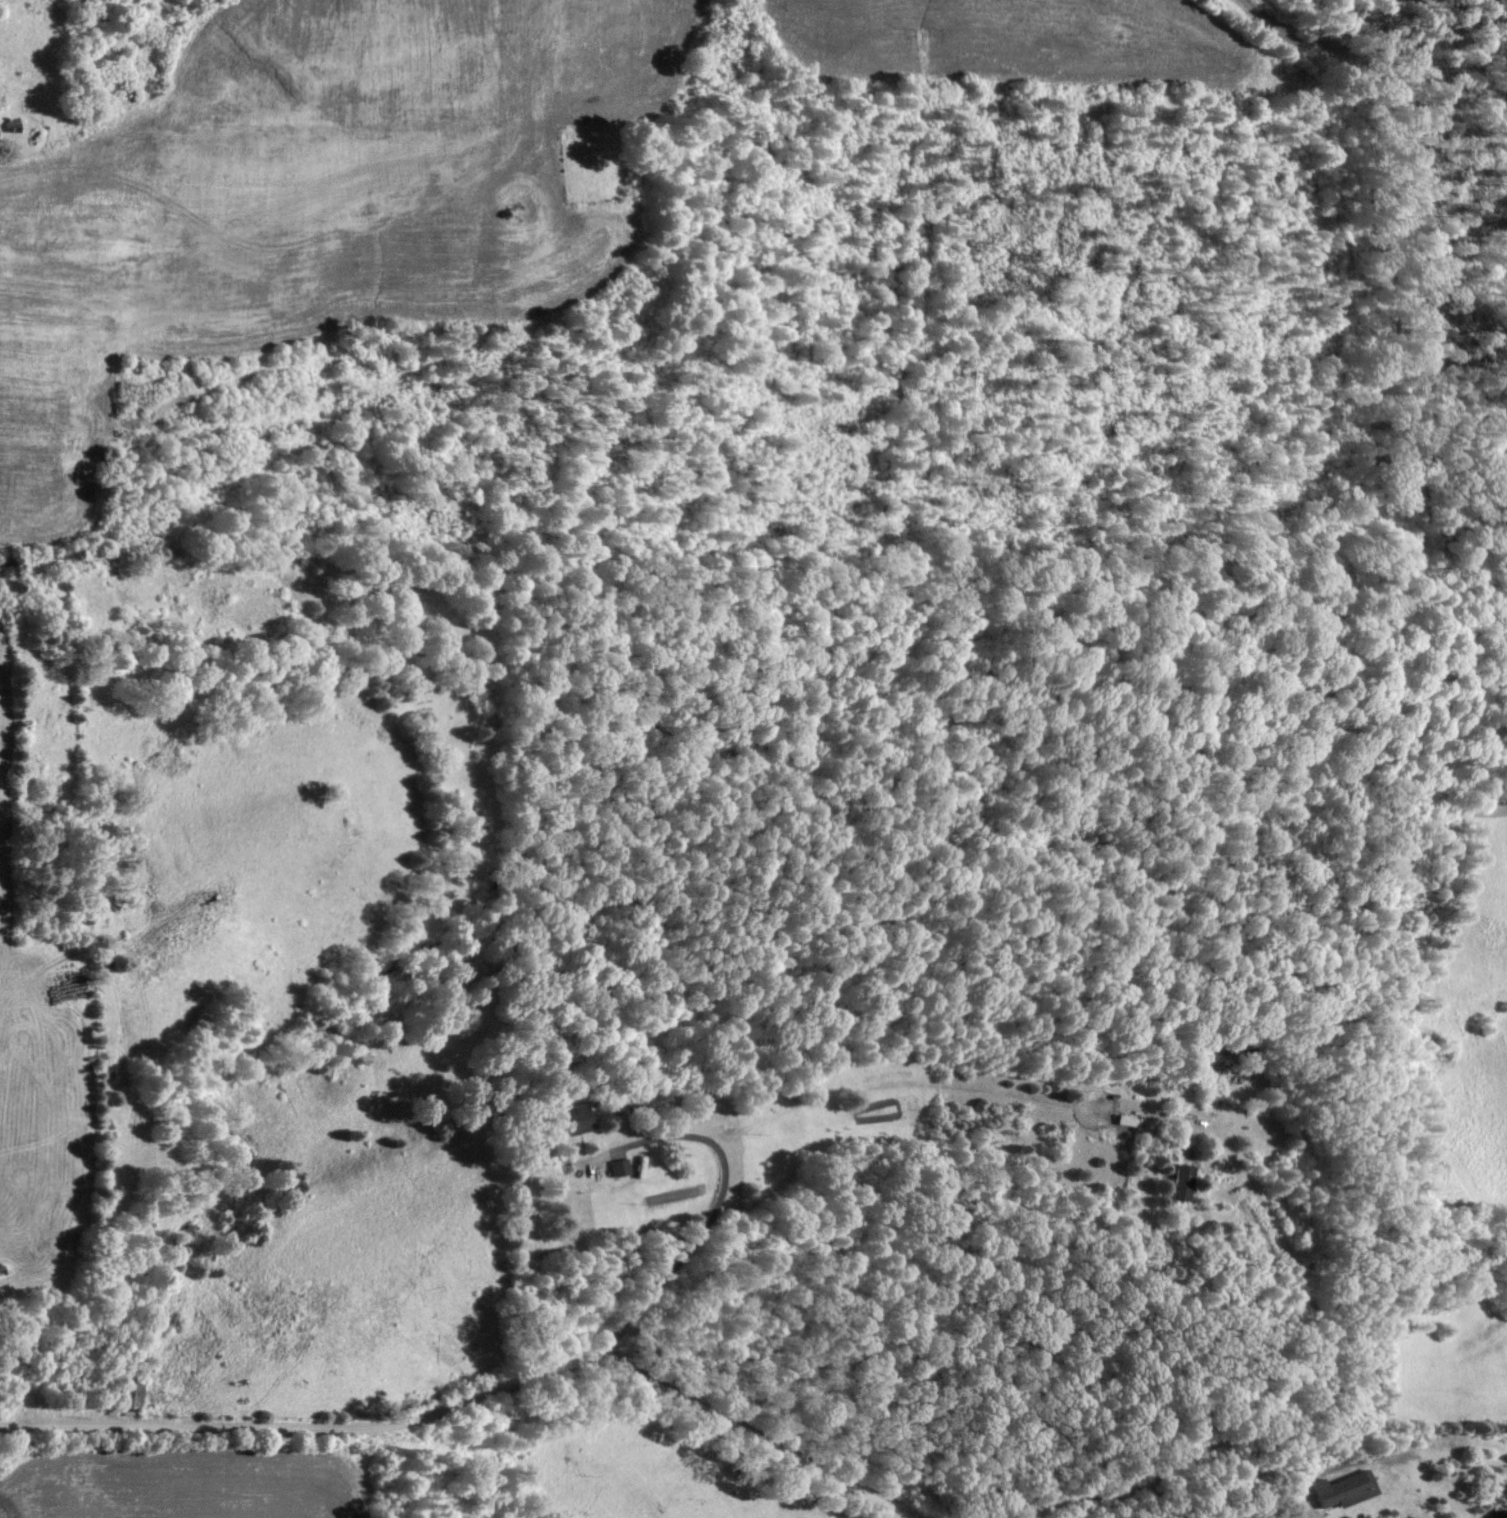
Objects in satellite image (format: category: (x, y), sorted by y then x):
building: (1218, 1068)
building: (574, 1118)
building: (1126, 1120)
building: (618, 1166)
building: (1181, 1181)
road: (709, 1224)
road: (1313, 1321)
building: (127, 1394)
road: (477, 1394)
building: (1344, 1489)

